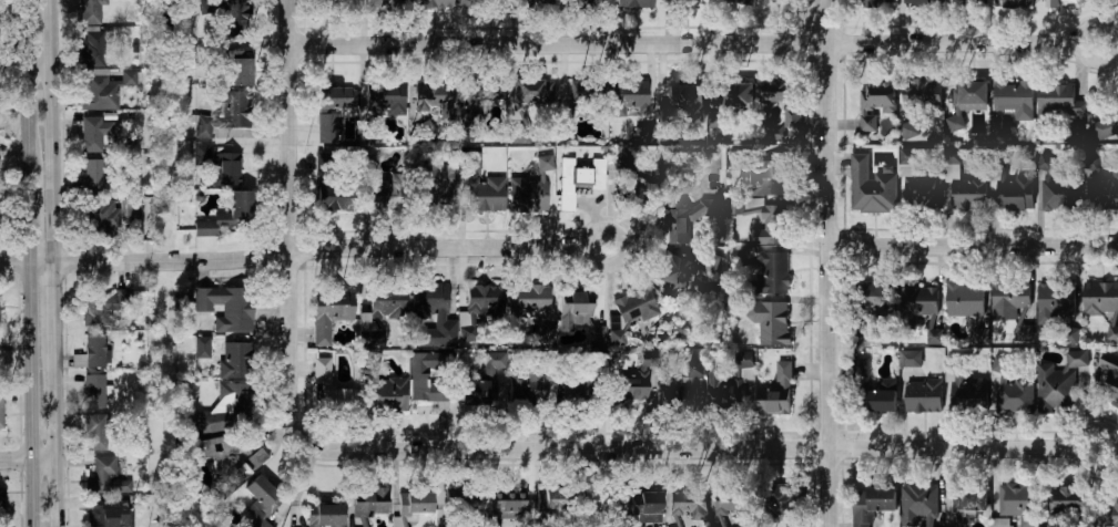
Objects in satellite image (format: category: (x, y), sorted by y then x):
building: (776, 0)
building: (533, 2)
building: (687, 2)
building: (734, 2)
building: (876, 2)
building: (922, 2)
building: (967, 2)
building: (1016, 2)
building: (1056, 2)
building: (334, 3)
building: (386, 3)
building: (434, 3)
building: (482, 3)
building: (590, 3)
building: (634, 3)
building: (89, 11)
building: (233, 12)
road: (692, 44)
road: (2, 66)
road: (27, 66)
building: (92, 71)
building: (240, 71)
road: (23, 73)
building: (129, 77)
building: (481, 89)
building: (591, 90)
building: (532, 91)
building: (684, 94)
building: (740, 94)
building: (434, 95)
building: (334, 96)
building: (924, 96)
building: (385, 97)
building: (782, 97)
building: (627, 99)
building: (967, 102)
building: (1012, 102)
building: (1057, 103)
building: (875, 104)
building: (224, 112)
building: (715, 120)
building: (1107, 123)
building: (911, 126)
building: (328, 128)
building: (425, 128)
road: (51, 131)
building: (93, 132)
building: (1080, 133)
building: (519, 134)
building: (201, 154)
building: (370, 163)
building: (630, 163)
building: (227, 168)
building: (566, 175)
building: (94, 176)
building: (766, 178)
building: (434, 182)
building: (870, 185)
building: (917, 185)
building: (328, 186)
building: (1104, 189)
building: (485, 194)
building: (969, 194)
building: (1015, 194)
building: (529, 195)
building: (1059, 195)
building: (383, 196)
building: (633, 197)
road: (26, 205)
building: (132, 209)
building: (228, 214)
building: (99, 215)
road: (288, 220)
building: (685, 227)
building: (774, 227)
road: (972, 247)
road: (305, 248)
road: (3, 262)
road: (825, 263)
building: (681, 272)
building: (770, 276)
building: (1009, 299)
building: (1056, 299)
building: (1100, 299)
building: (965, 300)
building: (916, 303)
building: (104, 304)
building: (479, 306)
building: (227, 307)
building: (533, 307)
building: (870, 309)
road: (53, 311)
building: (329, 311)
building: (630, 313)
building: (431, 314)
building: (579, 317)
building: (383, 318)
building: (766, 320)
building: (0, 323)
building: (936, 332)
building: (1026, 332)
building: (1112, 333)
building: (982, 335)
building: (202, 348)
building: (90, 352)
building: (235, 359)
building: (911, 360)
building: (322, 370)
building: (639, 379)
building: (424, 380)
building: (484, 381)
building: (1109, 382)
building: (1060, 384)
building: (527, 385)
building: (964, 386)
building: (582, 389)
building: (687, 389)
building: (731, 389)
building: (93, 391)
building: (873, 391)
building: (776, 393)
road: (31, 394)
building: (389, 394)
building: (923, 395)
building: (1015, 395)
building: (336, 400)
building: (223, 409)
building: (1, 410)
building: (91, 428)
road: (54, 443)
road: (699, 449)
road: (4, 458)
road: (32, 458)
building: (228, 461)
building: (103, 477)
building: (263, 495)
building: (969, 499)
building: (1, 500)
building: (467, 500)
building: (1015, 500)
building: (1066, 500)
building: (370, 503)
building: (414, 503)
building: (549, 503)
building: (733, 504)
building: (782, 504)
building: (871, 504)
building: (688, 505)
building: (919, 505)
building: (508, 506)
building: (644, 510)
building: (106, 513)
building: (598, 513)
building: (326, 515)
building: (1108, 515)
building: (1003, 523)
building: (261, 524)
building: (958, 526)

